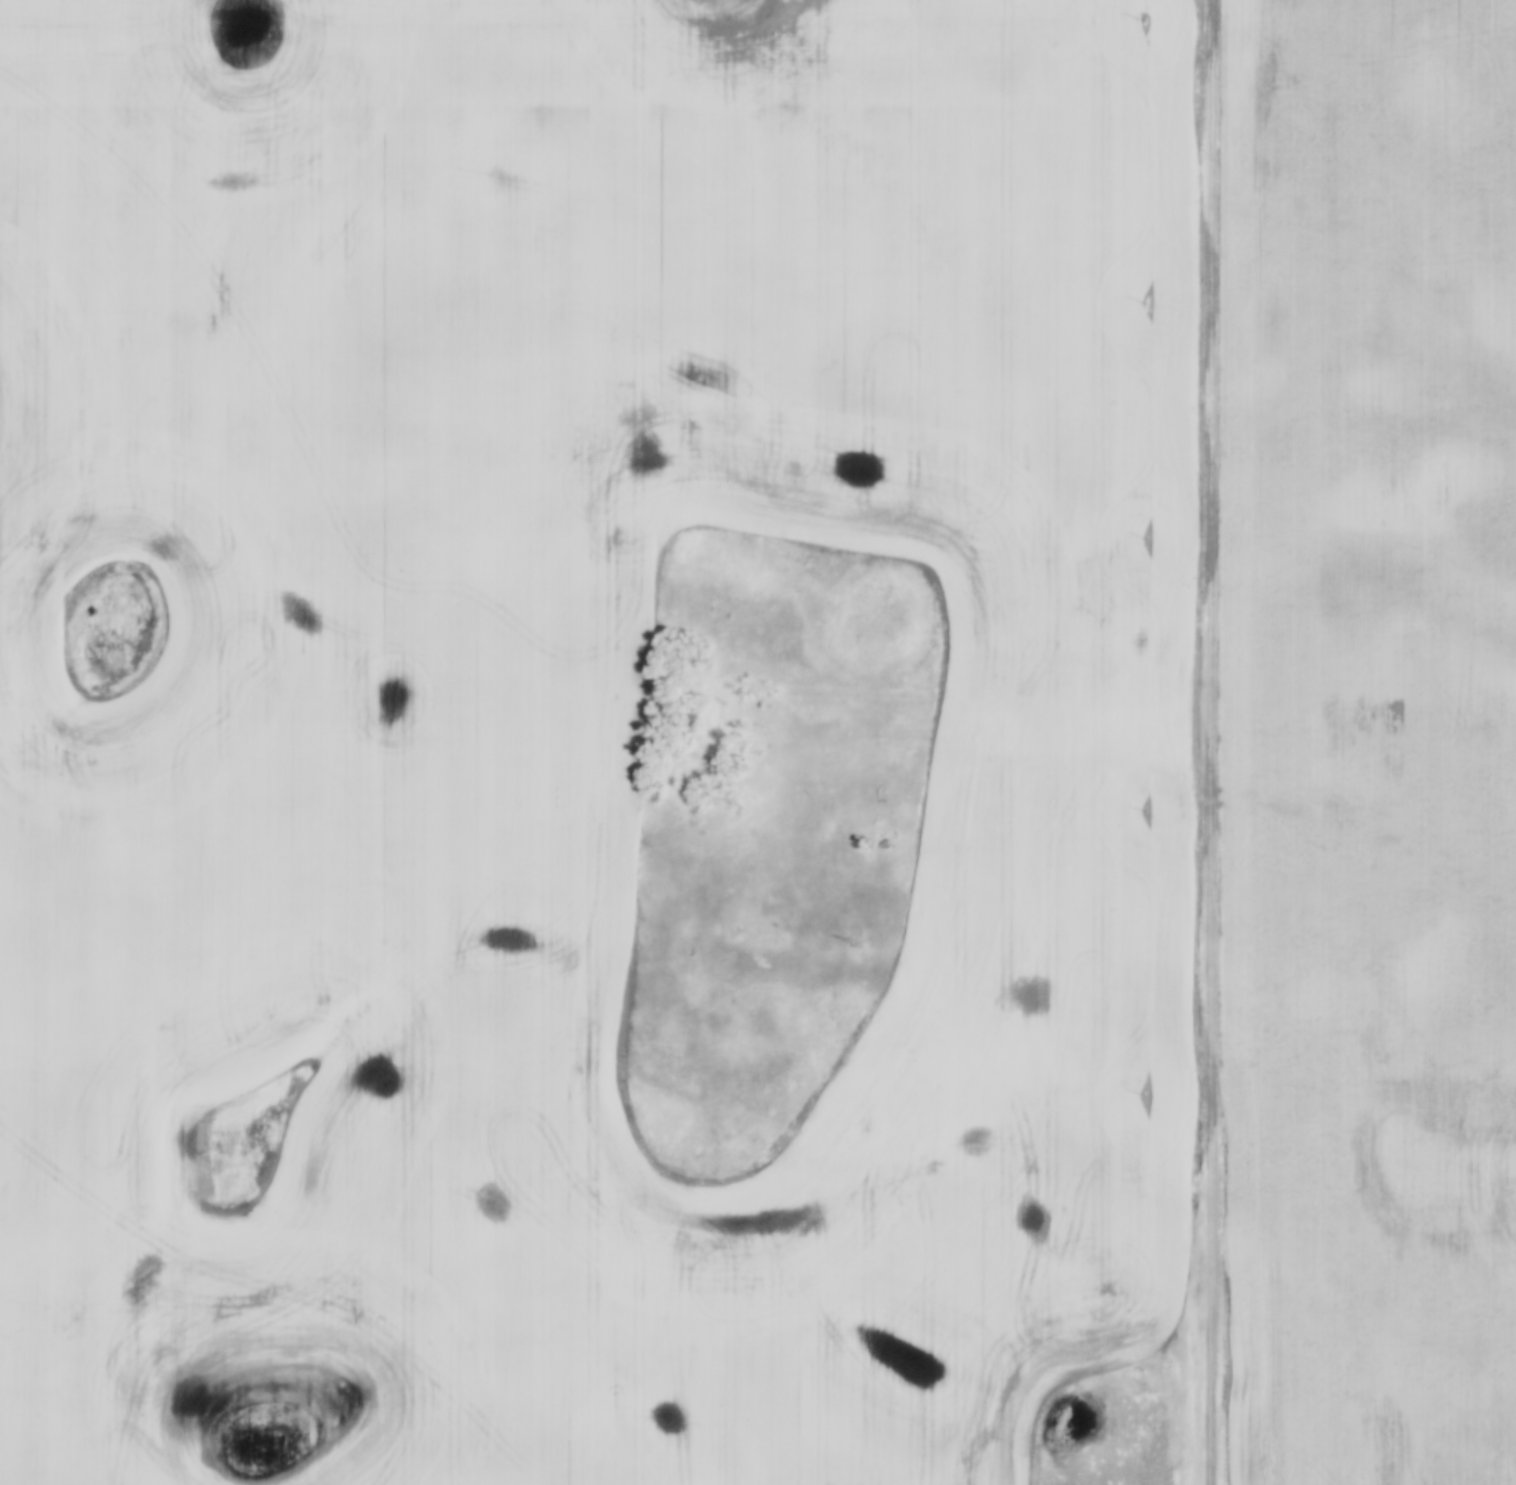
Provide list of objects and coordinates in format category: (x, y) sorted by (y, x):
road: (1217, 742)

